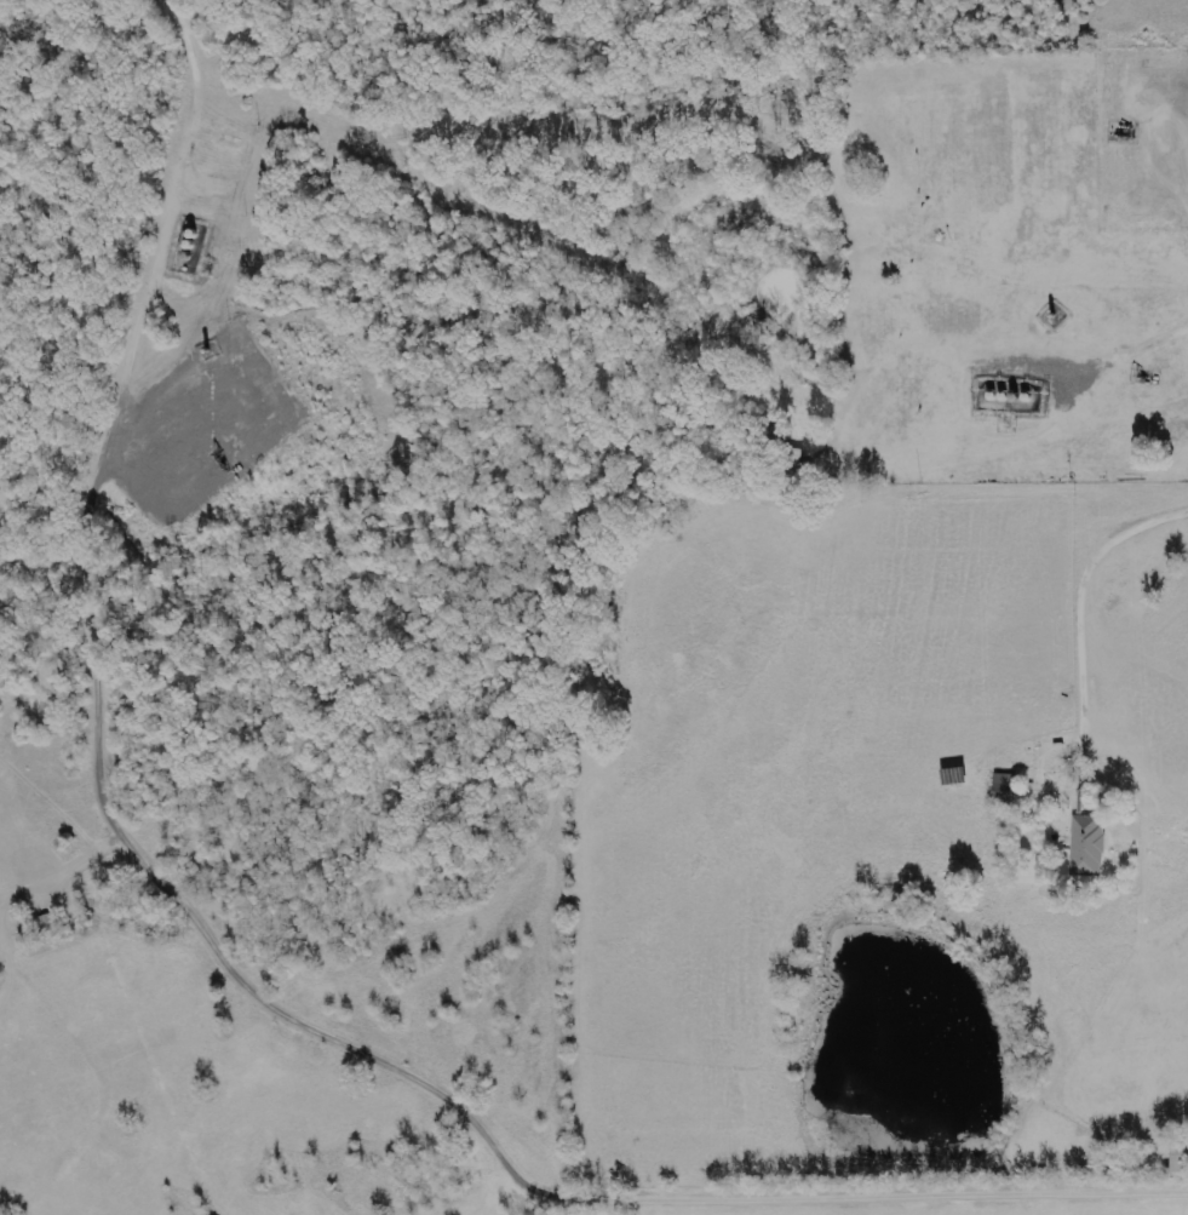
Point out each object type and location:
building: (1002, 787)
building: (1086, 847)
road: (1153, 1170)

